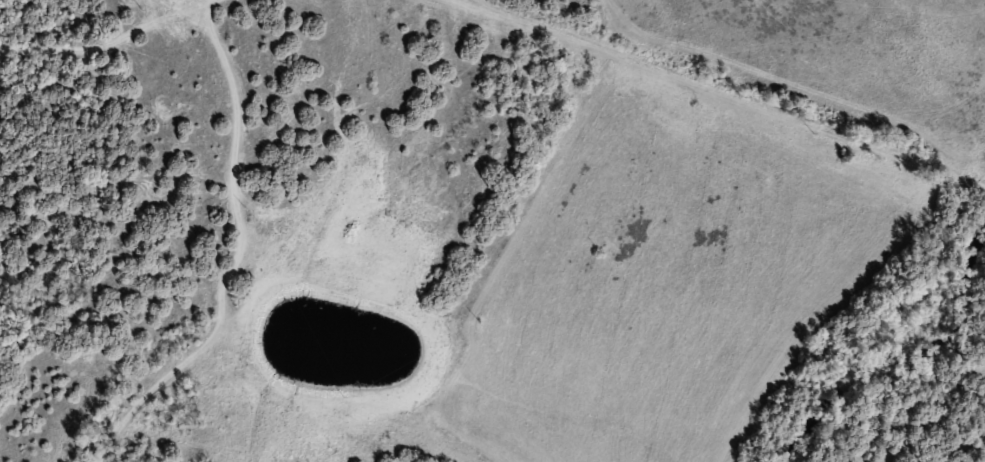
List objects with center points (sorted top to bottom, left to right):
road: (169, 188)

